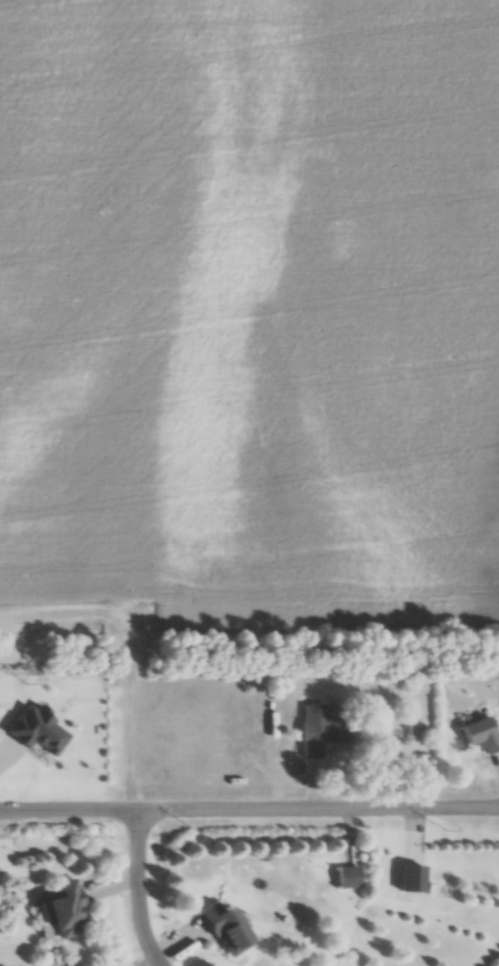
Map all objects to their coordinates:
building: (332, 733)
building: (419, 734)
building: (484, 734)
road: (336, 809)
road: (86, 810)
building: (351, 878)
road: (139, 890)
building: (71, 911)
building: (226, 930)

